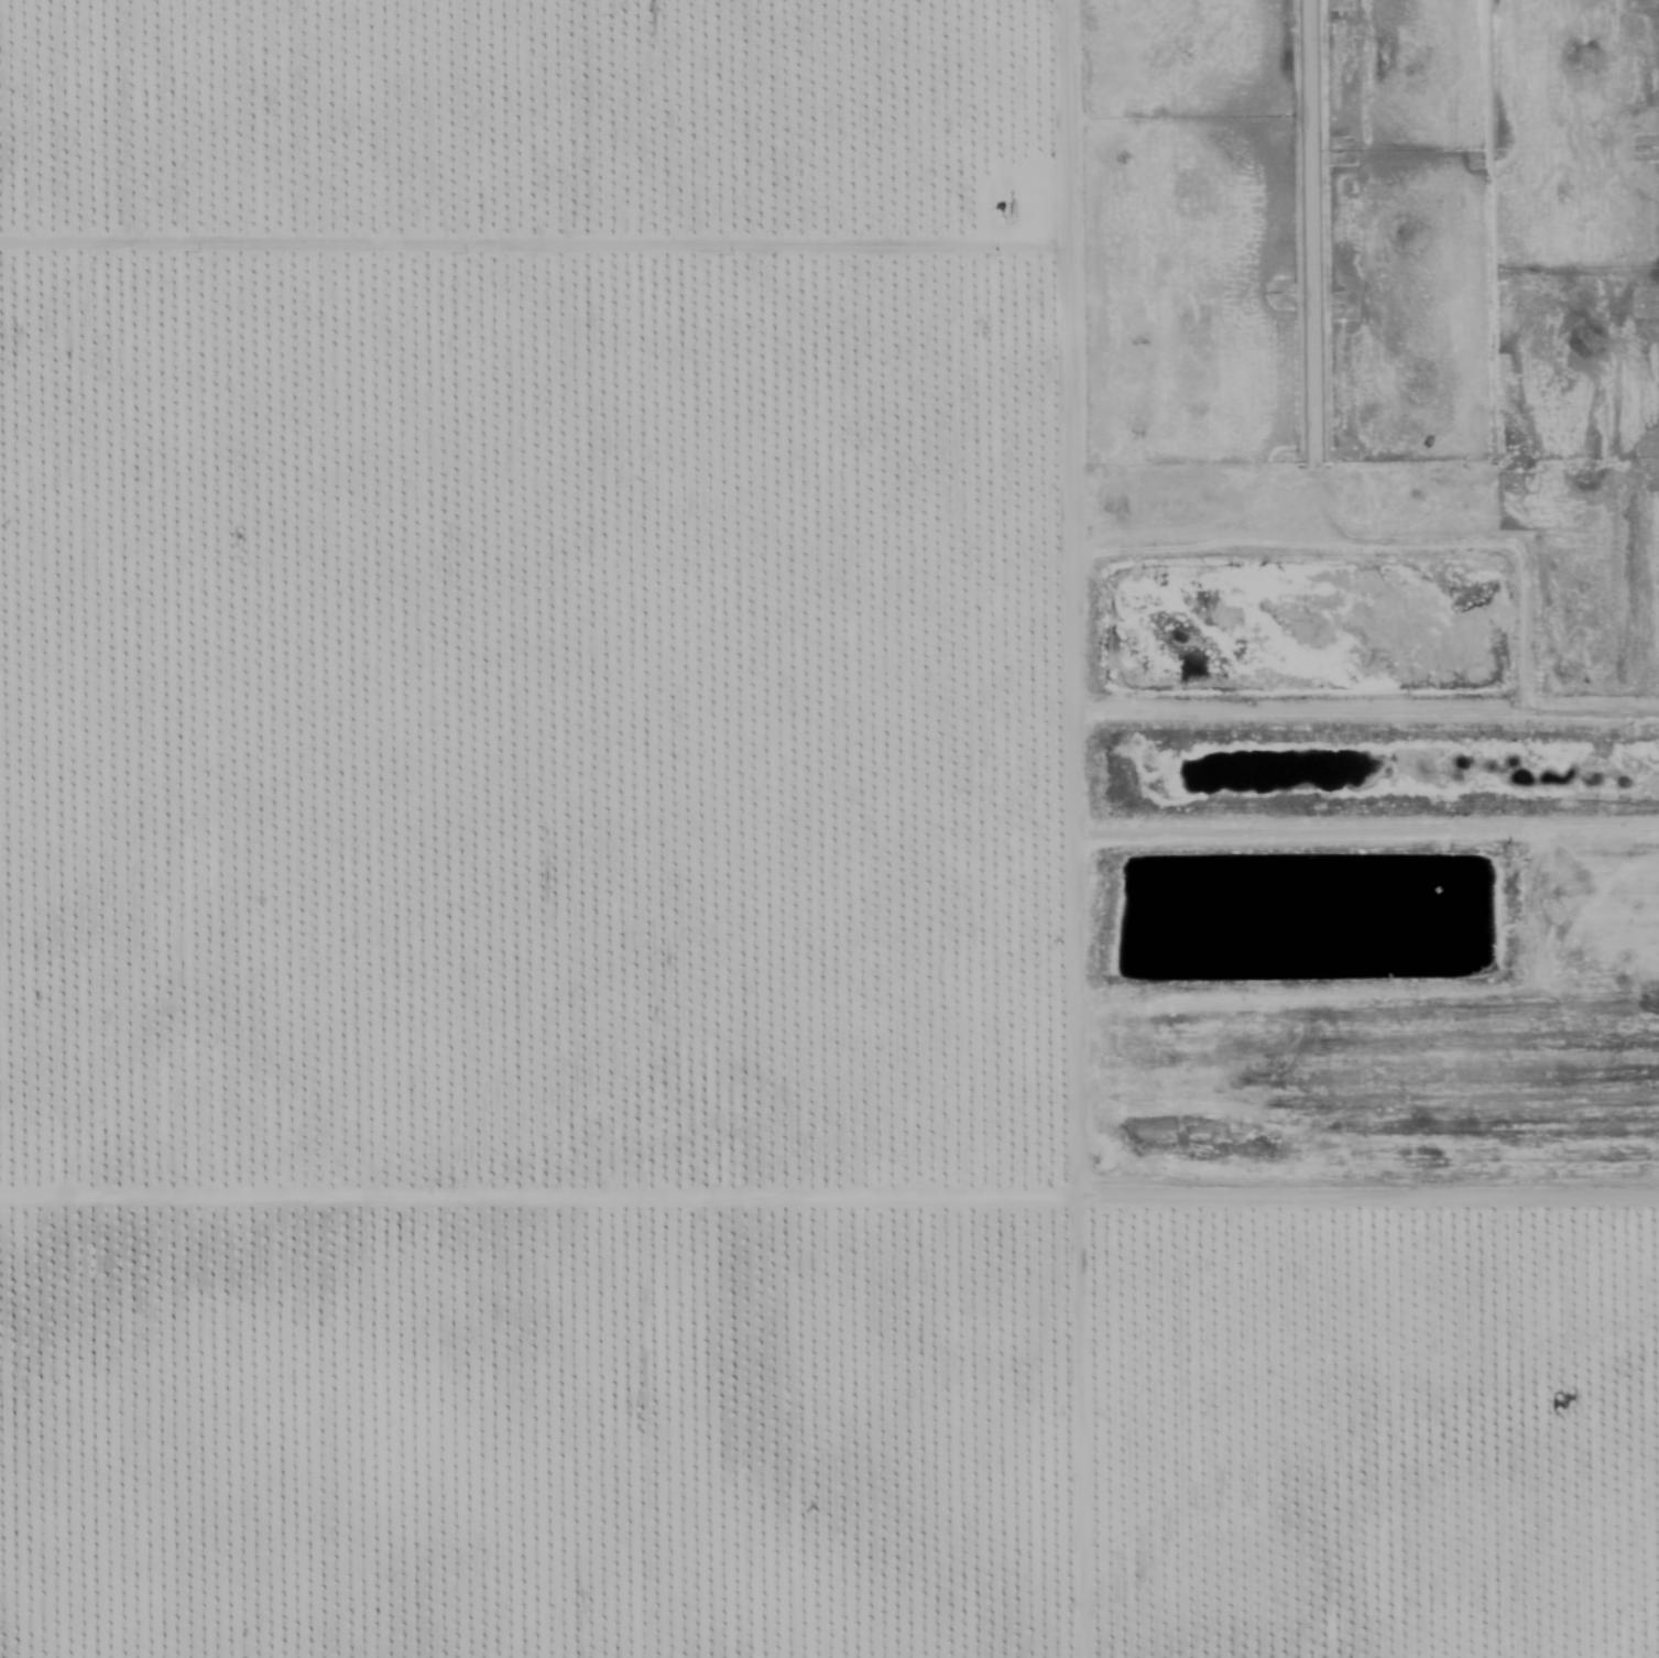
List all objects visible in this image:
crop: (481, 781)

